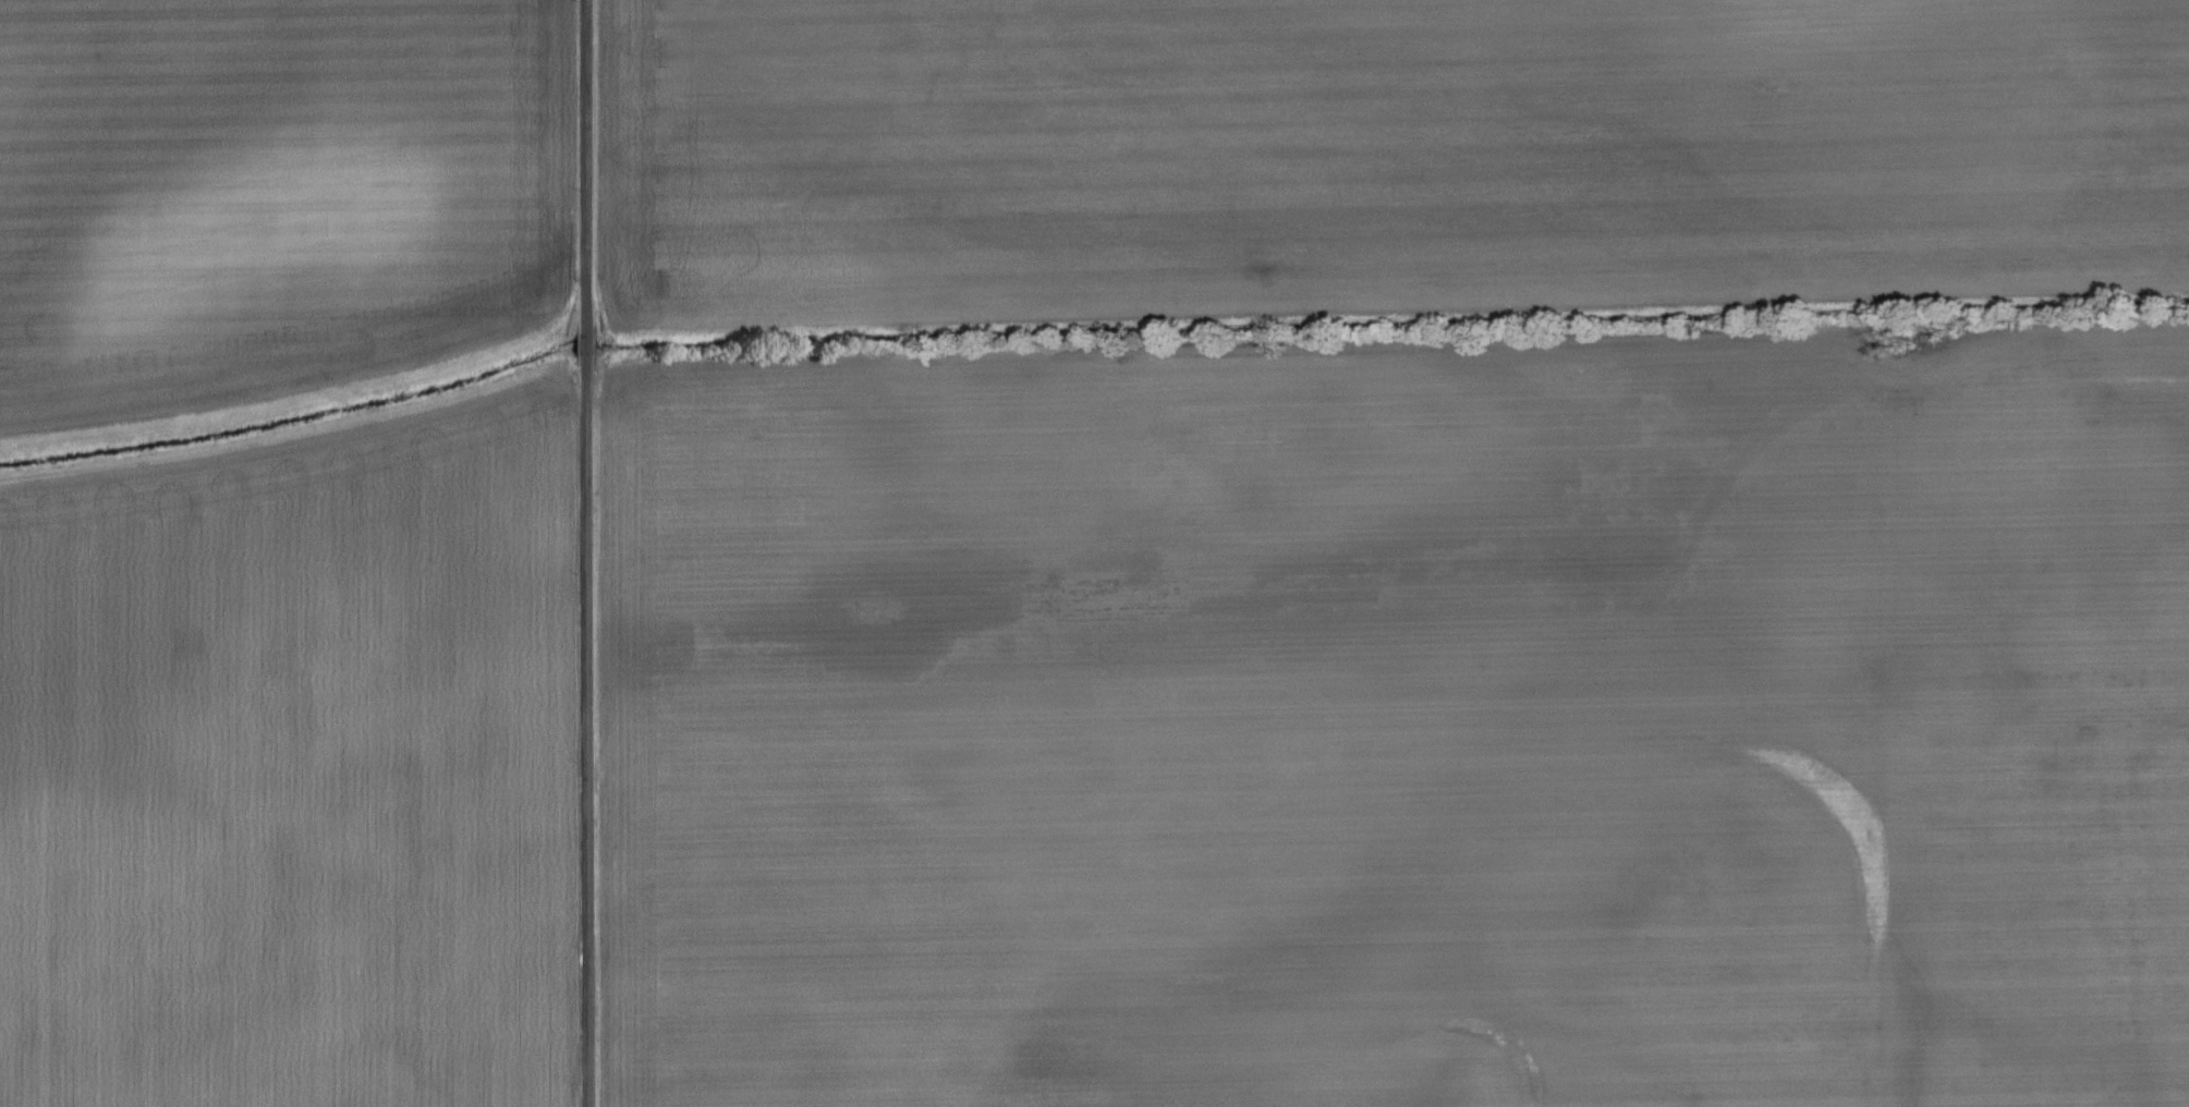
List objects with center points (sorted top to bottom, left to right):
road: (587, 553)

